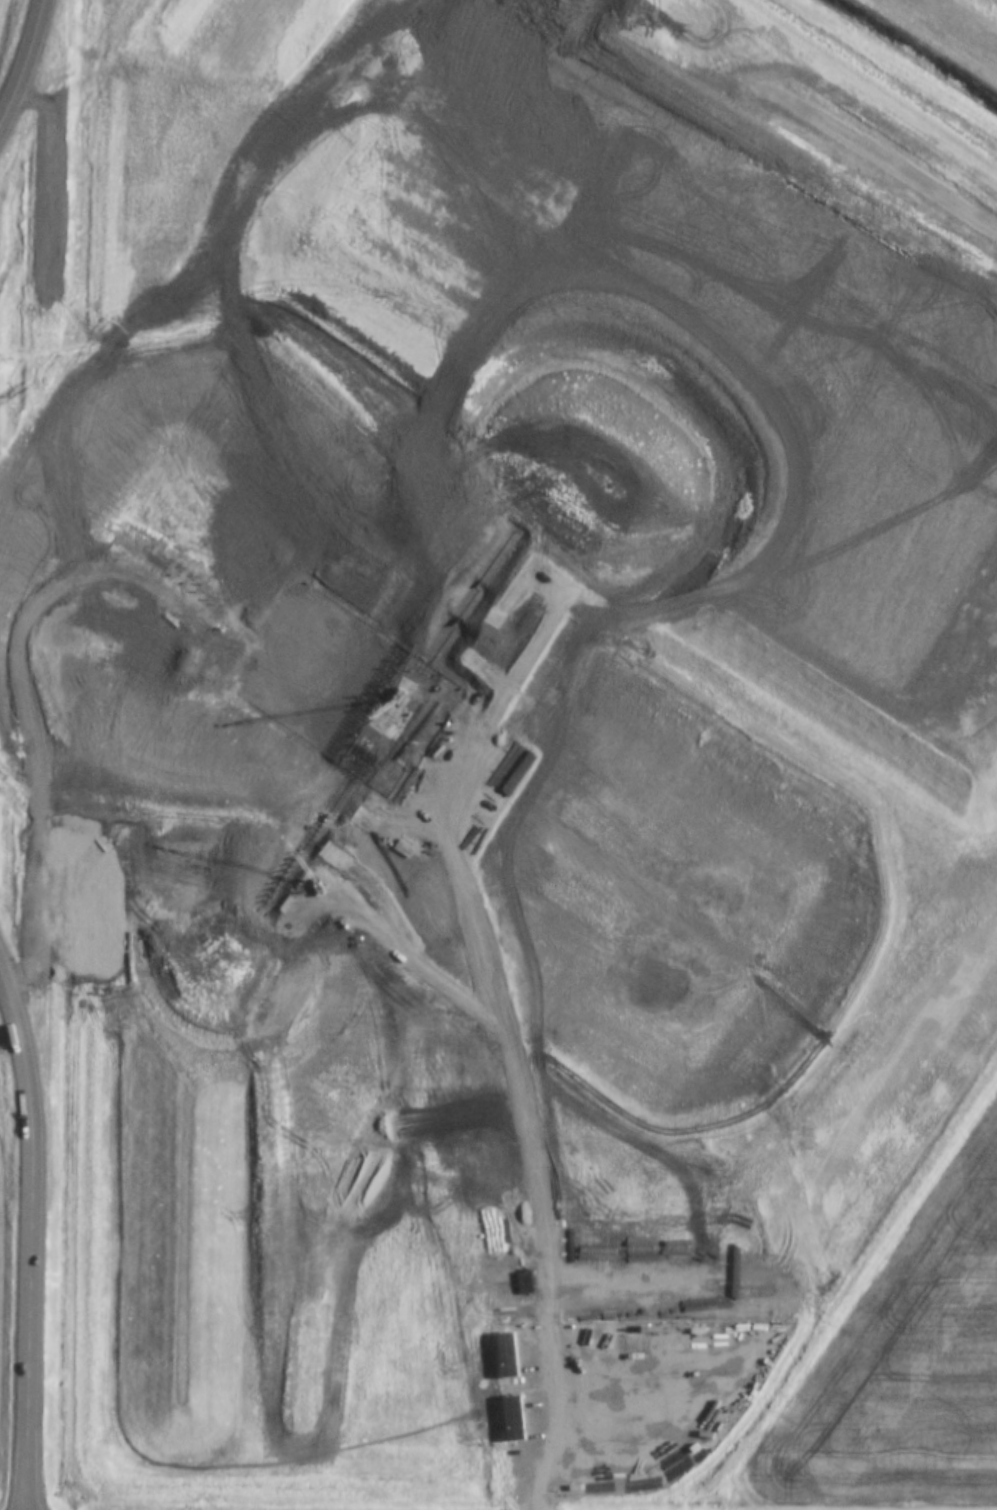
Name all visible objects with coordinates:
road: (22, 59)
road: (32, 1240)
road: (547, 1425)

